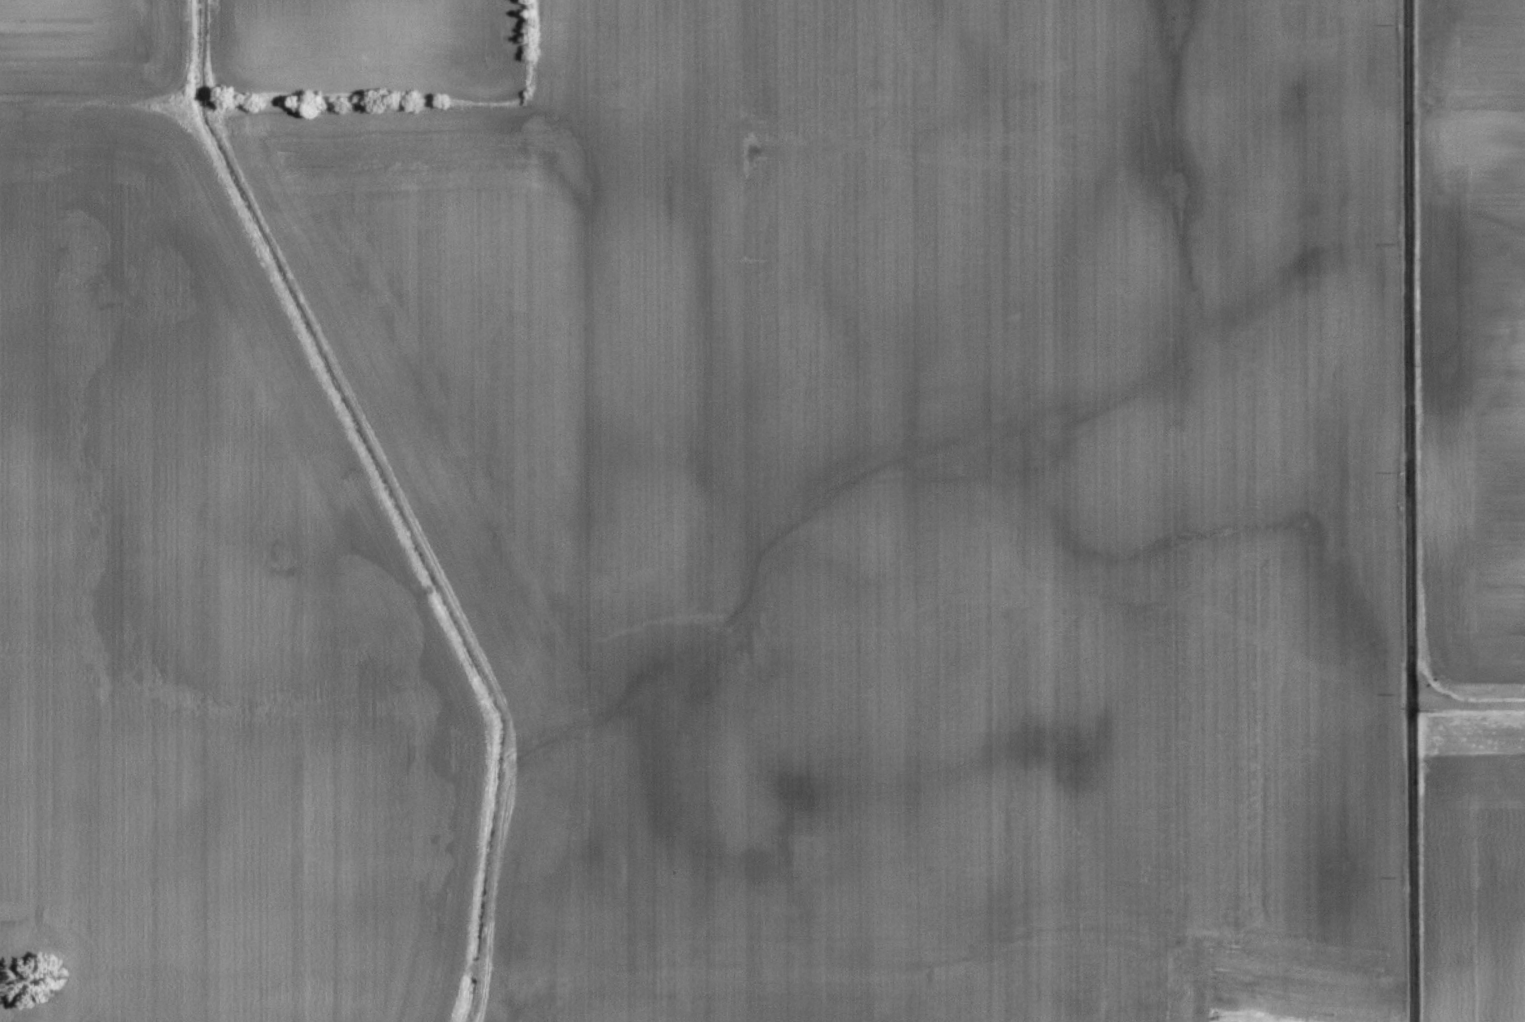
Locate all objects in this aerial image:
road: (1413, 511)
road: (1469, 702)

